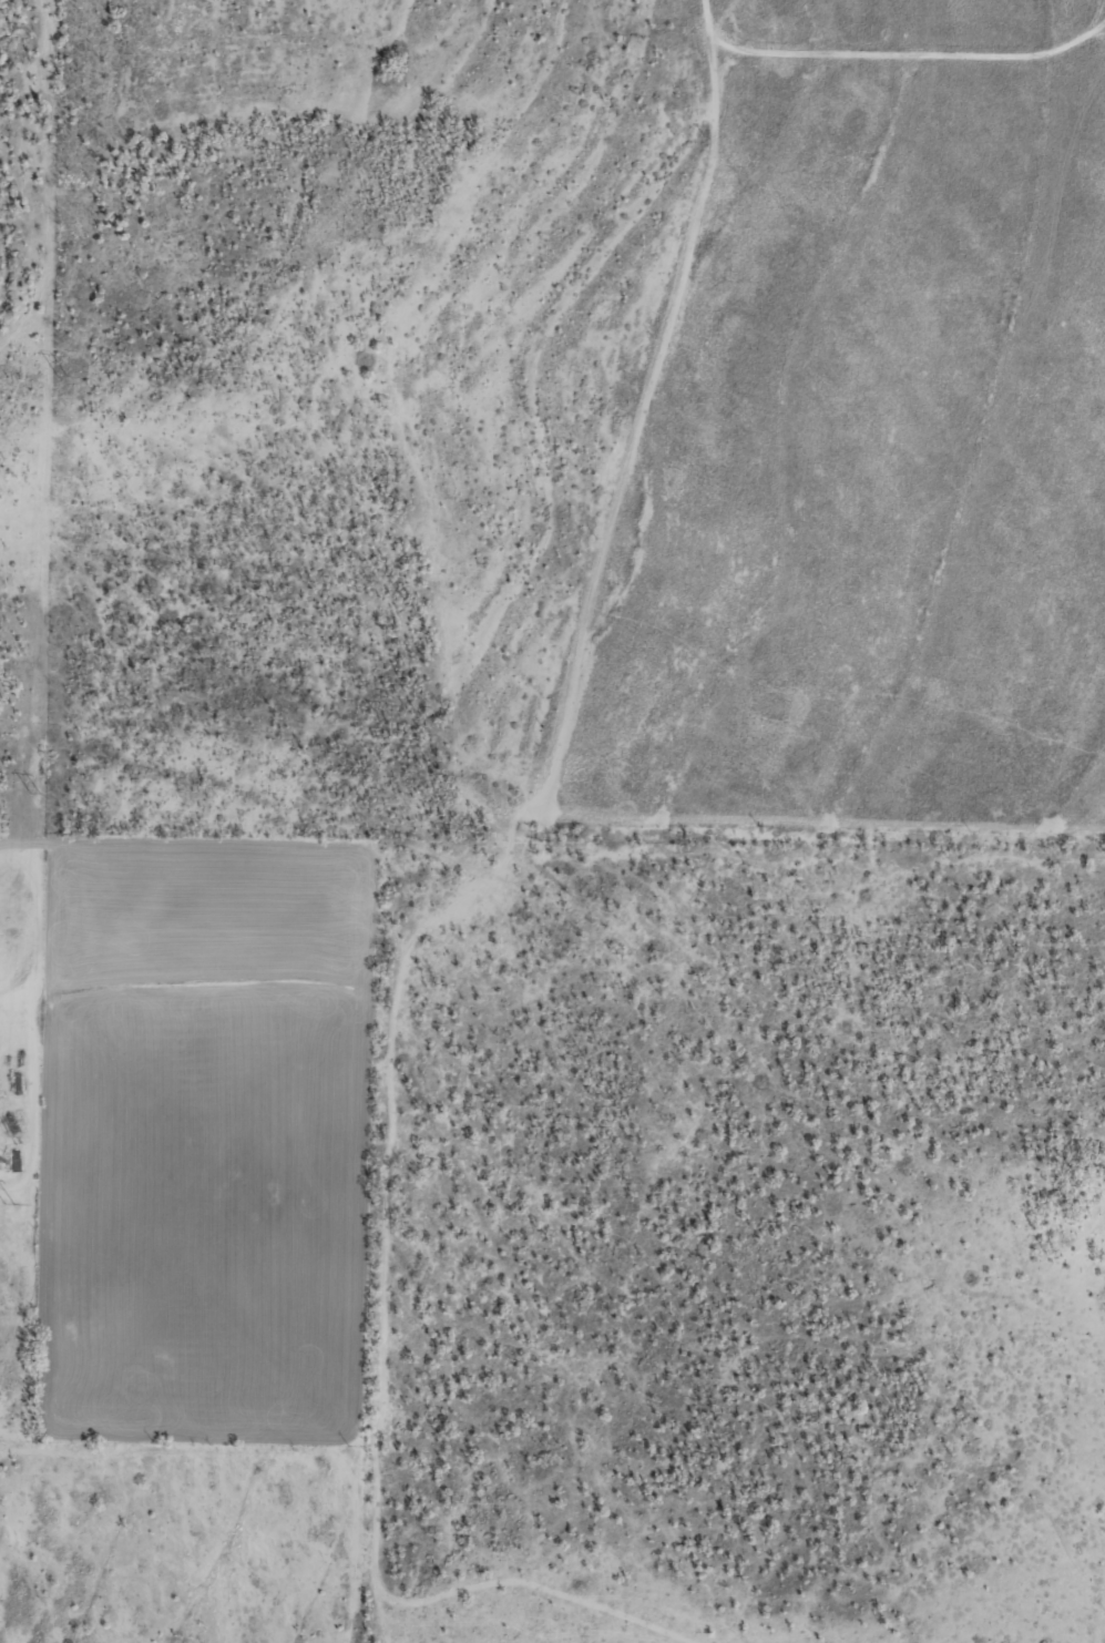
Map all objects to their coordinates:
power tower: (60, 376)
power tower: (32, 797)
power tower: (9, 1204)

